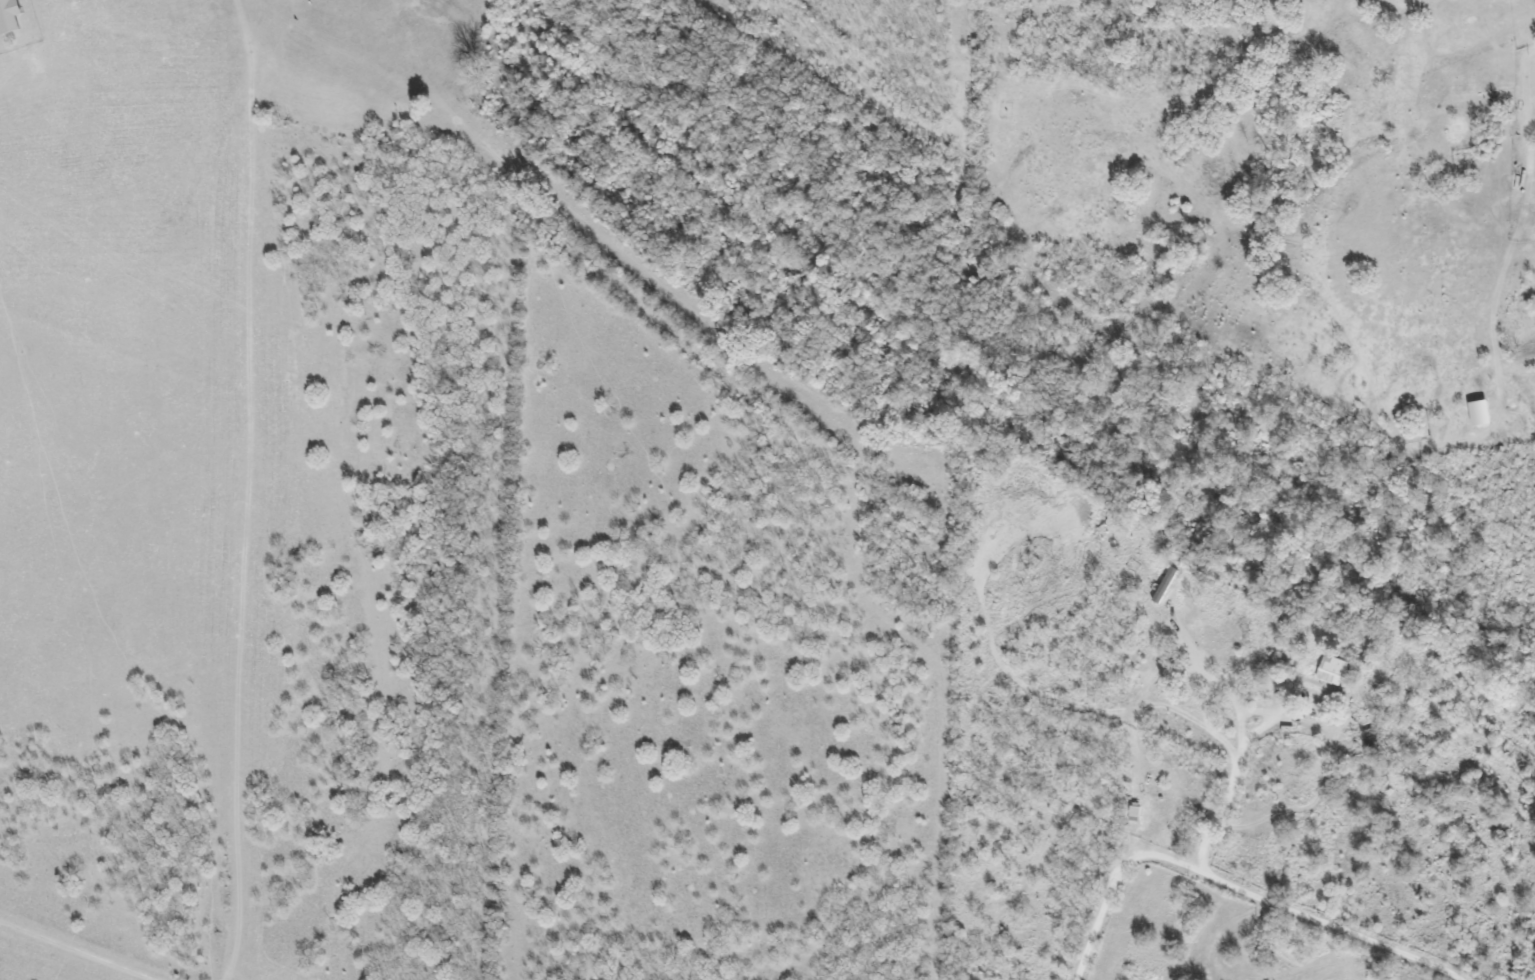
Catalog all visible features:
building: (8, 15)
building: (1330, 668)
road: (1235, 887)
road: (80, 950)

